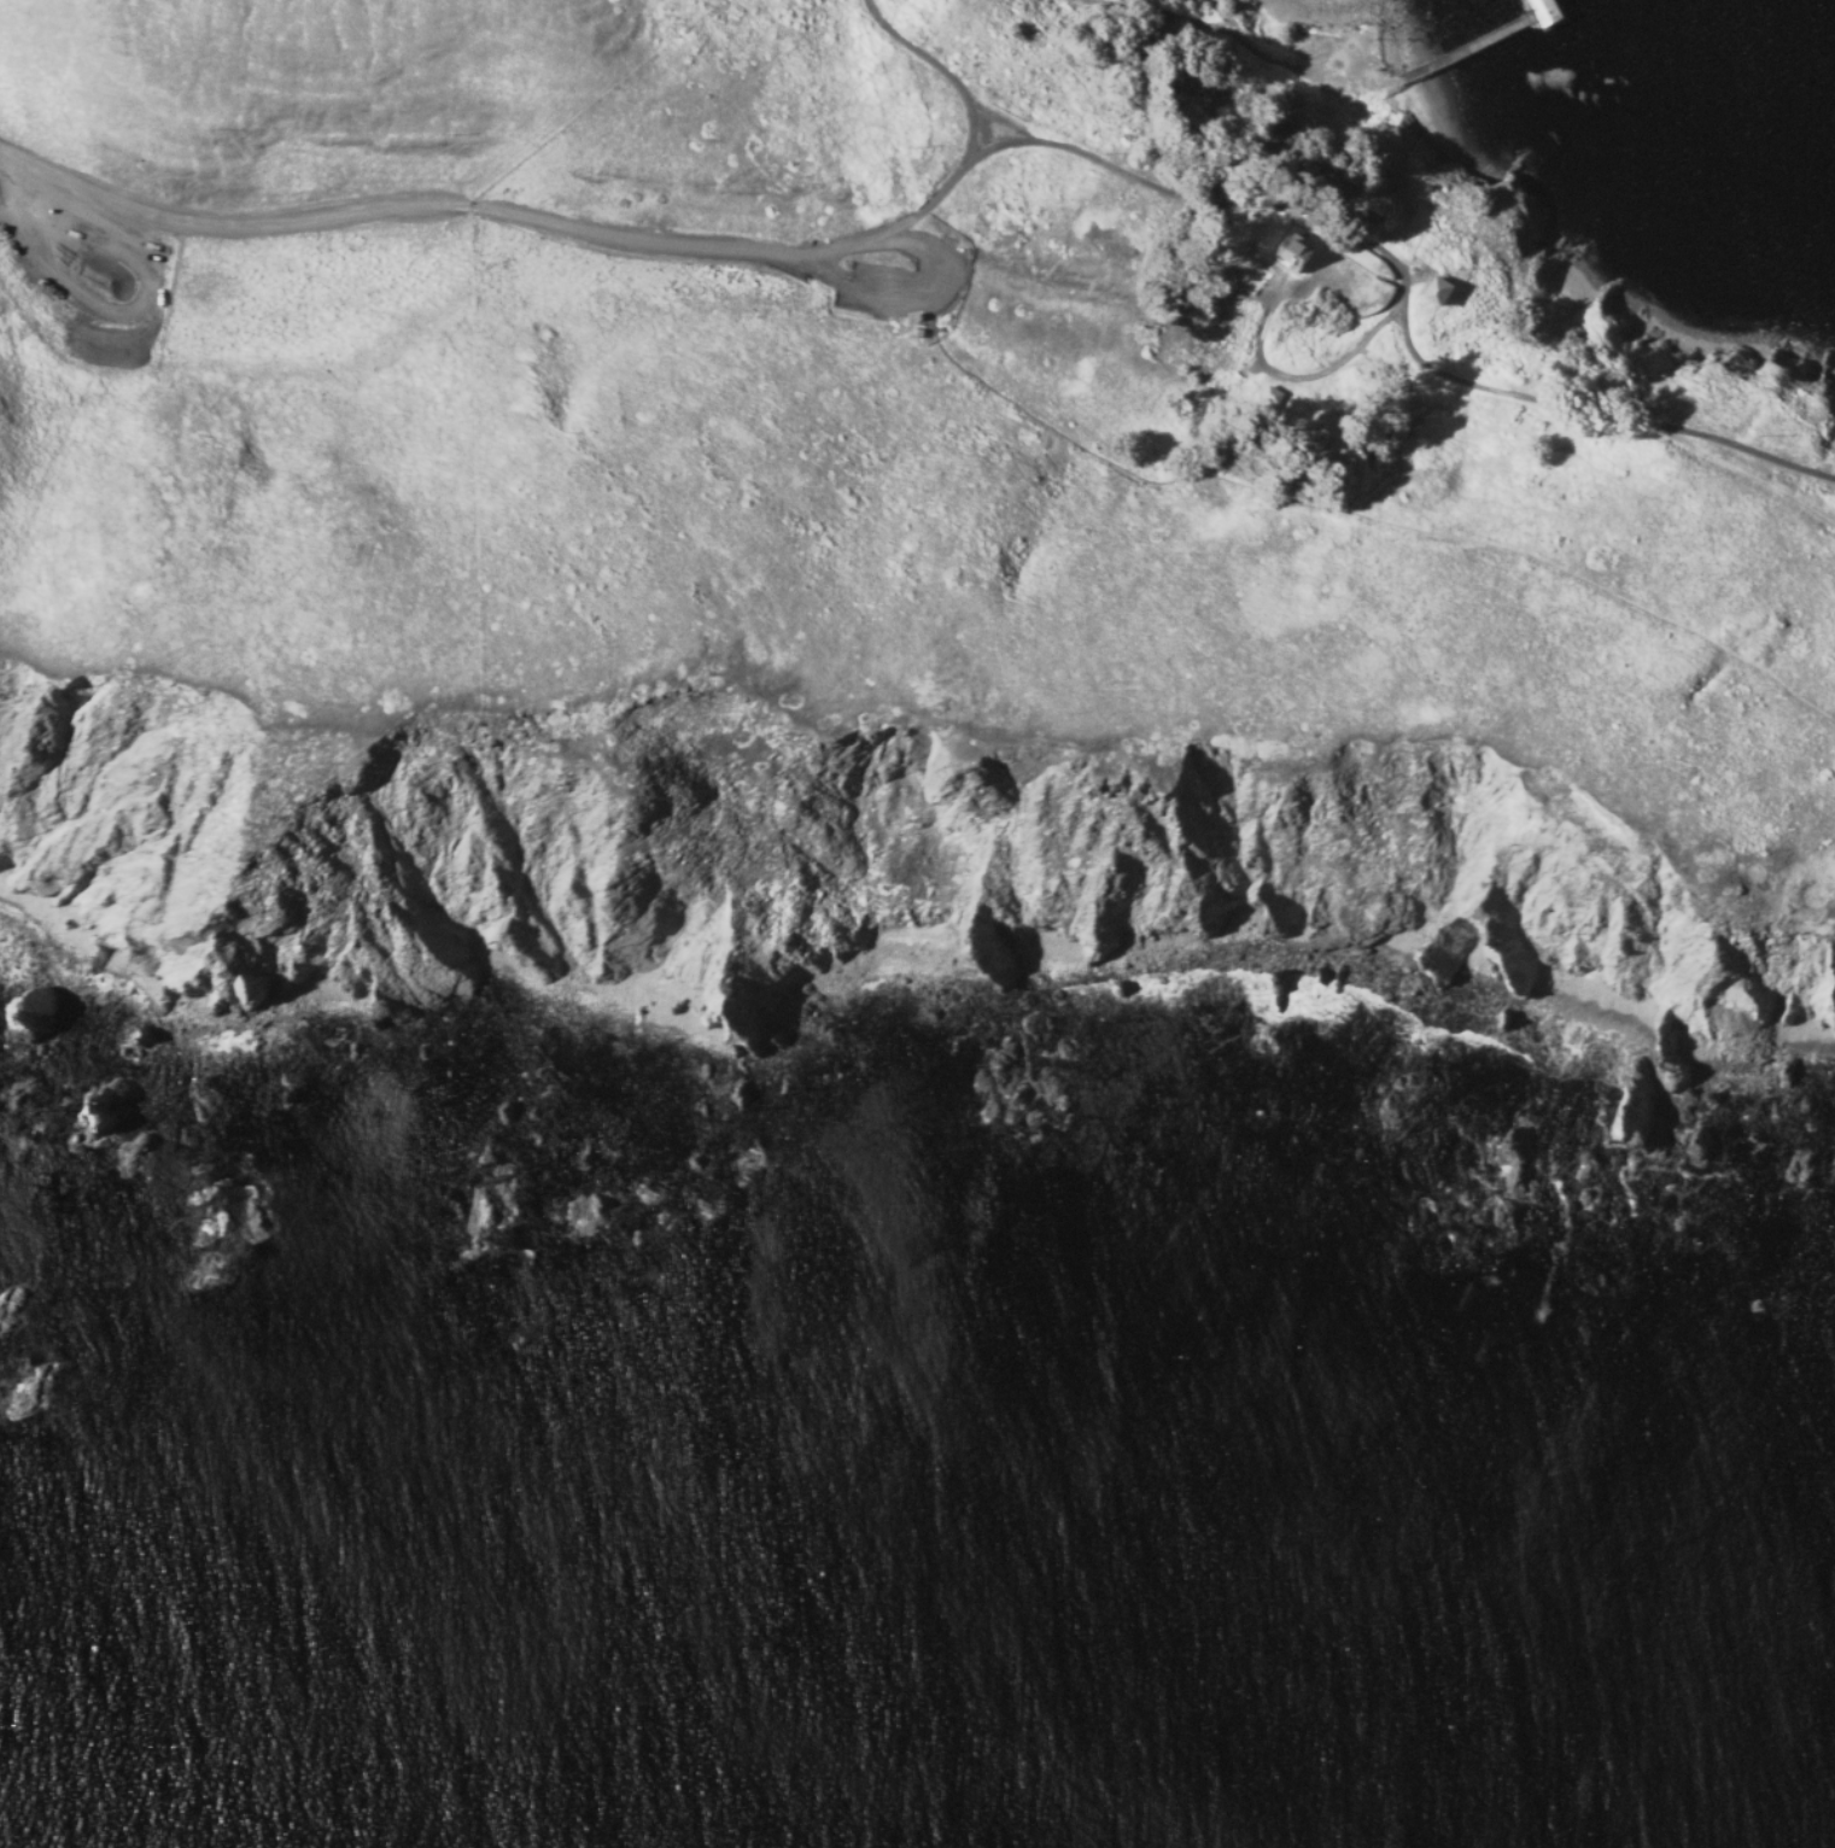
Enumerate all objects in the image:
building: (1548, 11)
road: (1217, 27)
pier: (1496, 35)
road: (941, 74)
road: (933, 204)
road: (391, 210)
road: (1288, 235)
building: (1243, 246)
road: (843, 248)
building: (1296, 253)
road: (1352, 258)
road: (1301, 275)
parking lot: (901, 277)
road: (1416, 280)
building: (1439, 291)
road: (902, 294)
road: (1404, 296)
road: (902, 312)
building: (1182, 314)
storage tank: (1182, 314)
building: (916, 316)
road: (904, 318)
building: (918, 331)
road: (1295, 374)
building: (1372, 375)
building: (1272, 393)
road: (1738, 468)
road: (1358, 516)

